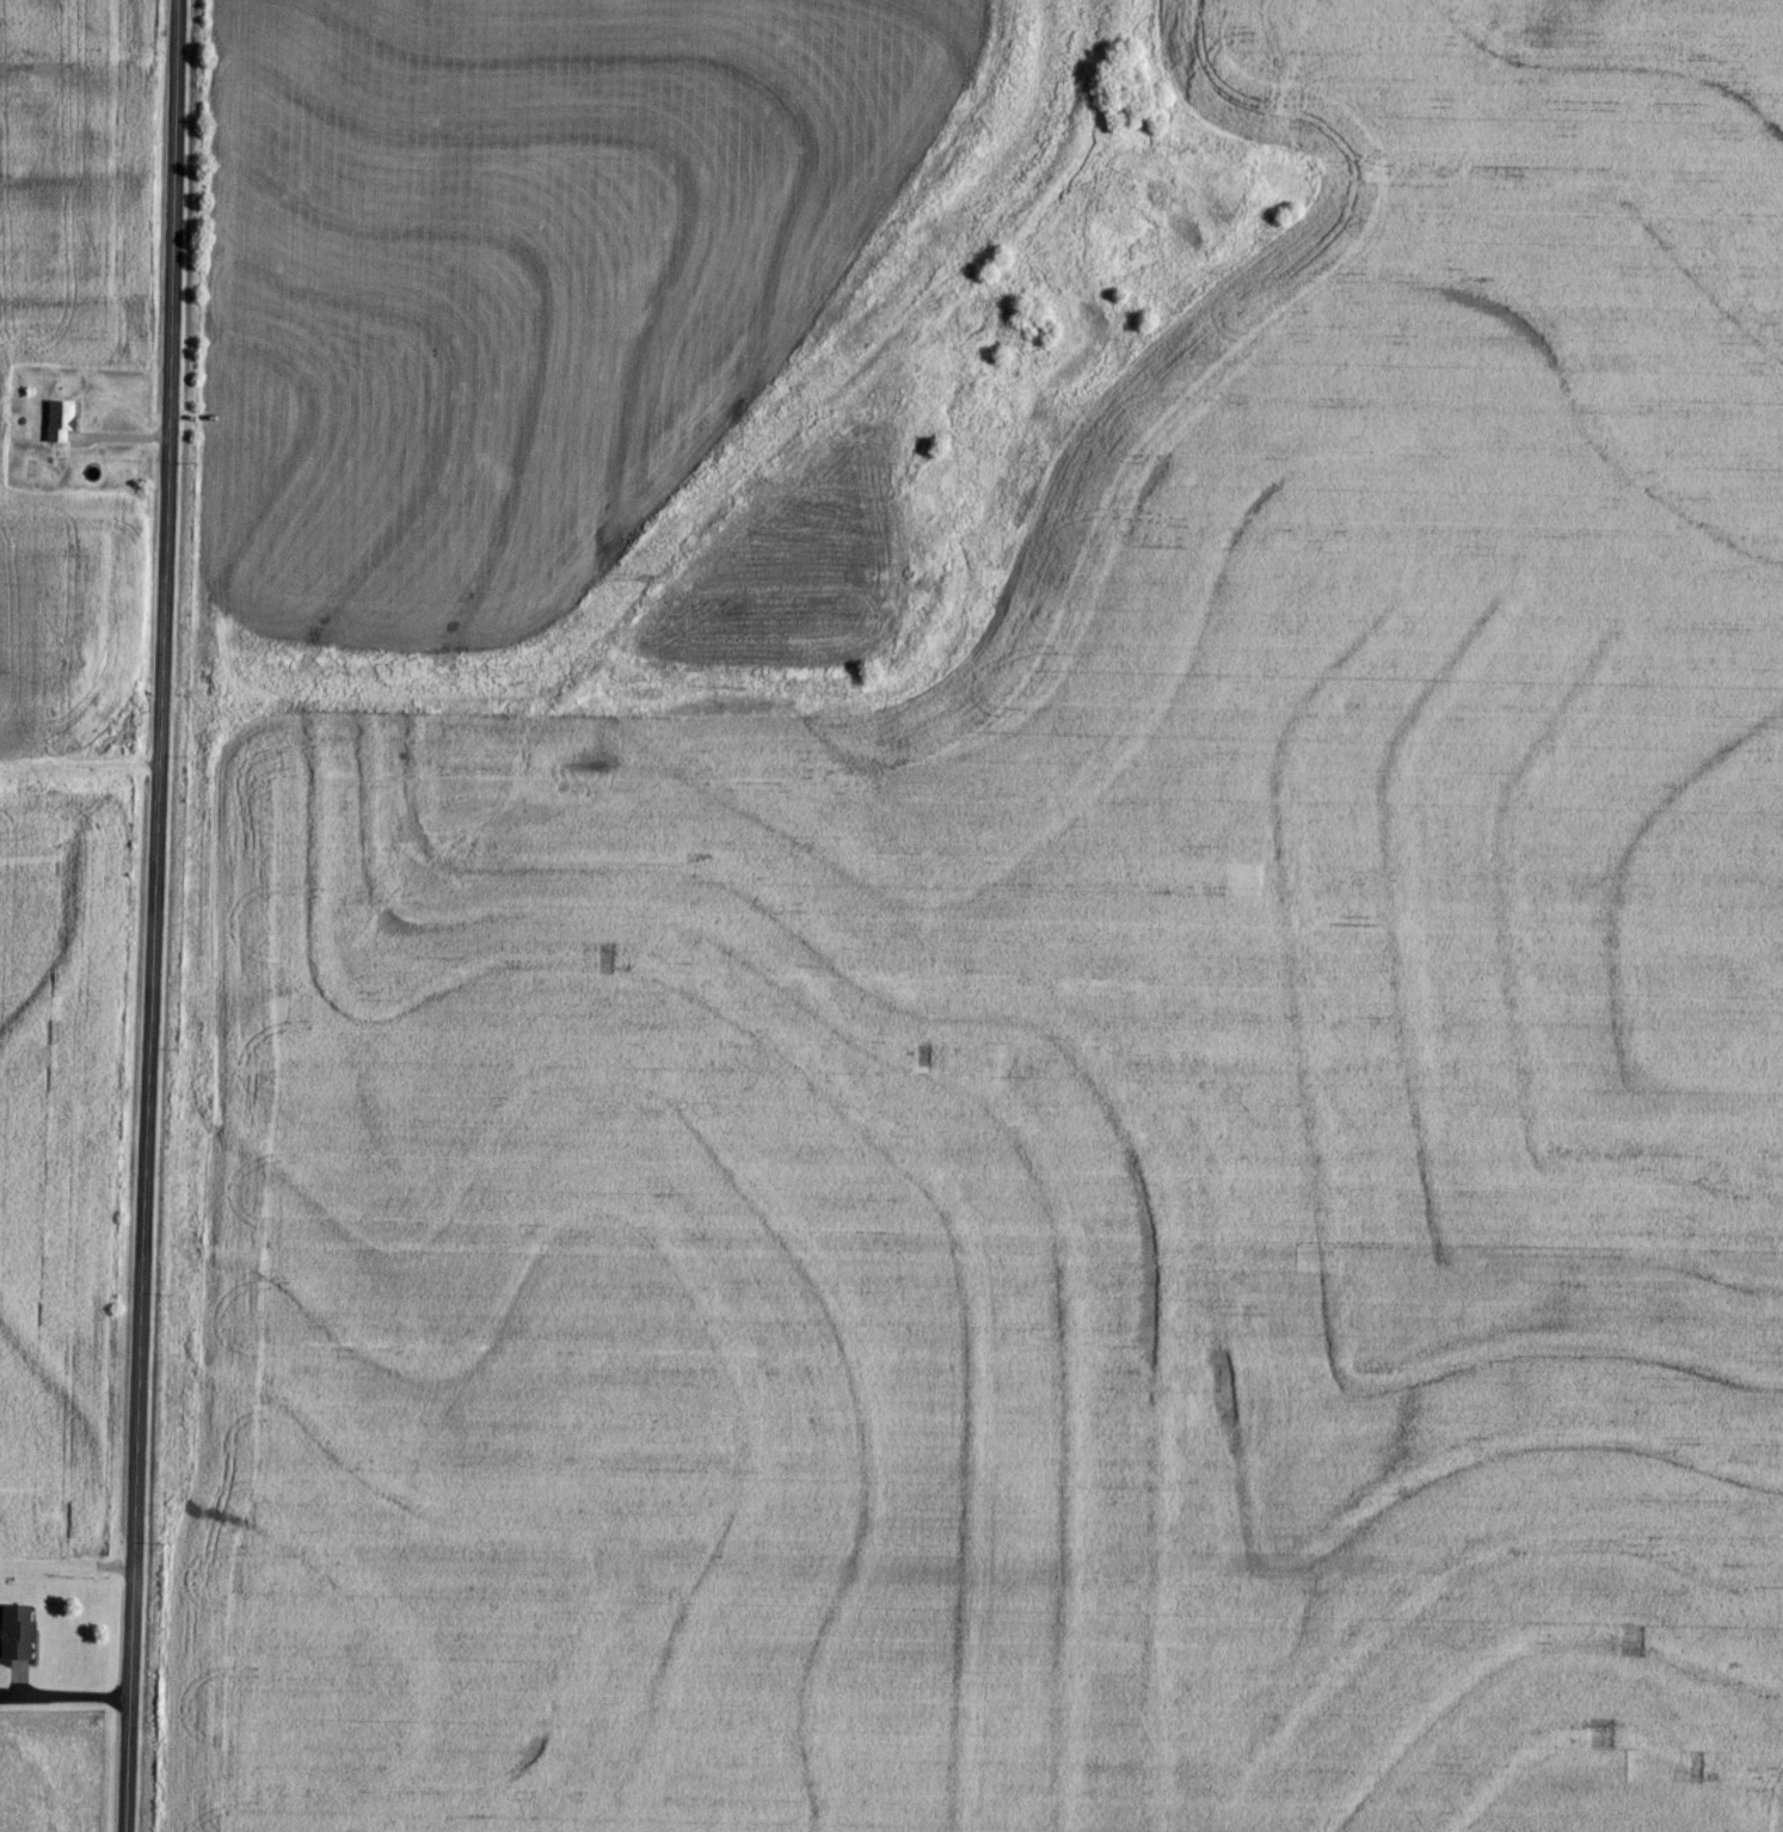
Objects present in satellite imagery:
crop: (82, 183)
building: (62, 419)
crop: (75, 640)
road: (156, 916)
crop: (66, 1169)
building: (20, 1633)

